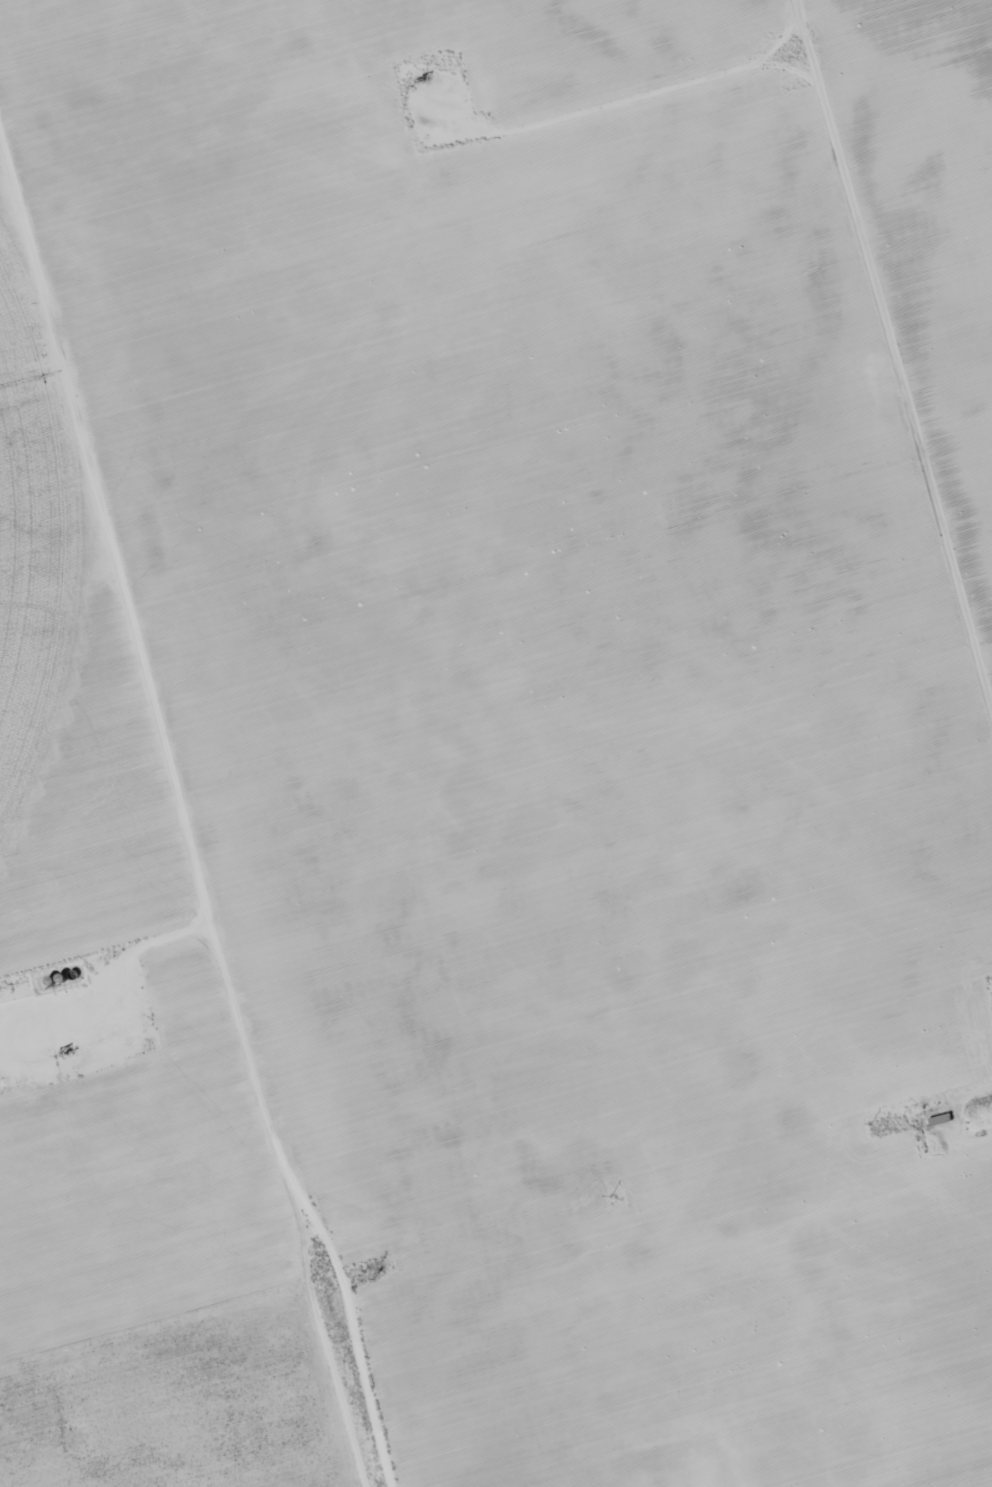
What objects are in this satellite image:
road: (904, 322)

